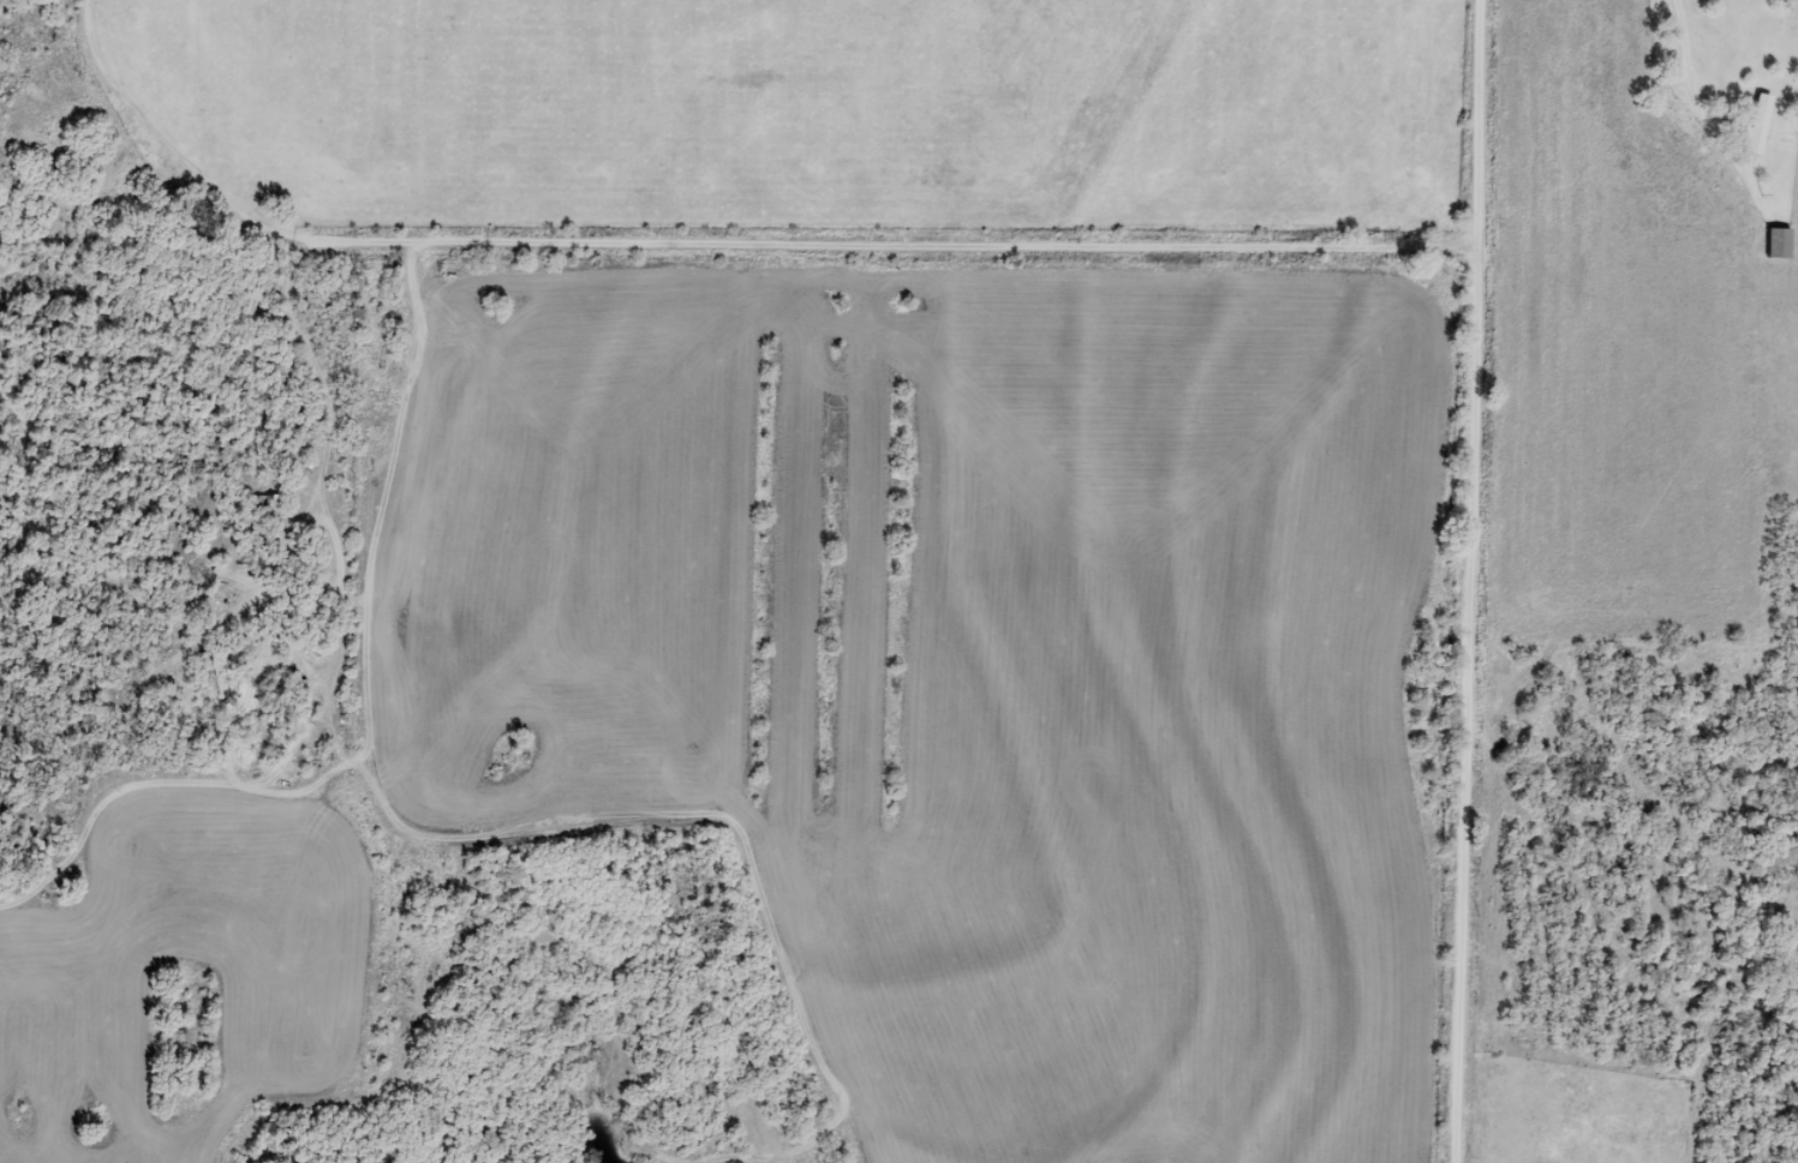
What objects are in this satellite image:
building: (1761, 125)
road: (1462, 186)
building: (1780, 244)
road: (1032, 383)
building: (264, 505)

